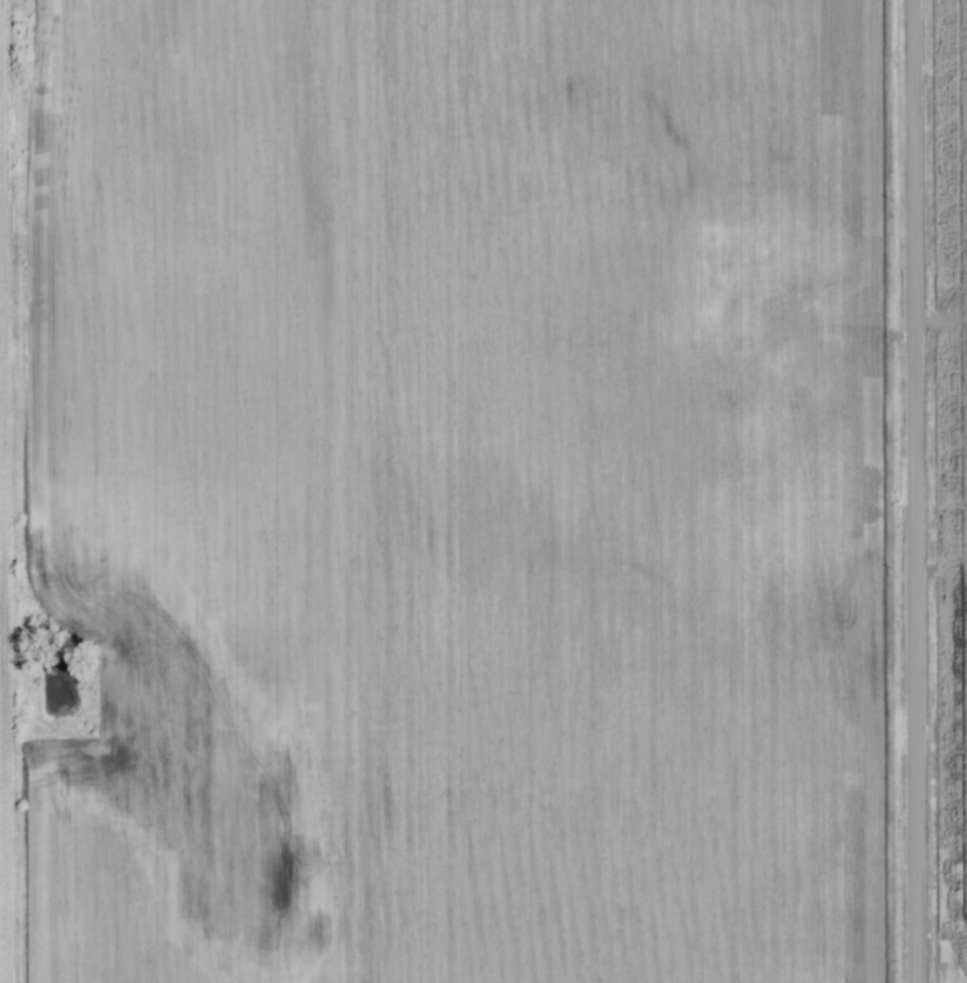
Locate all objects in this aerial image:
road: (909, 491)

